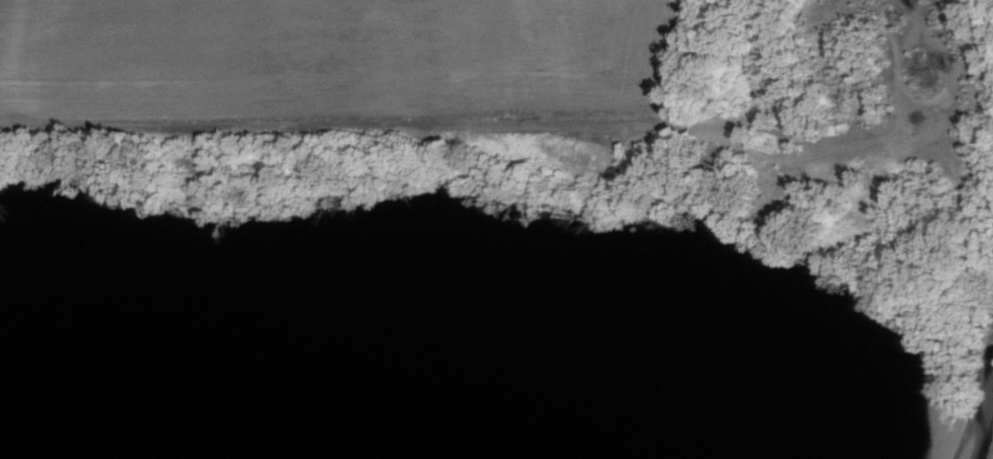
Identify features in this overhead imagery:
road: (518, 123)

